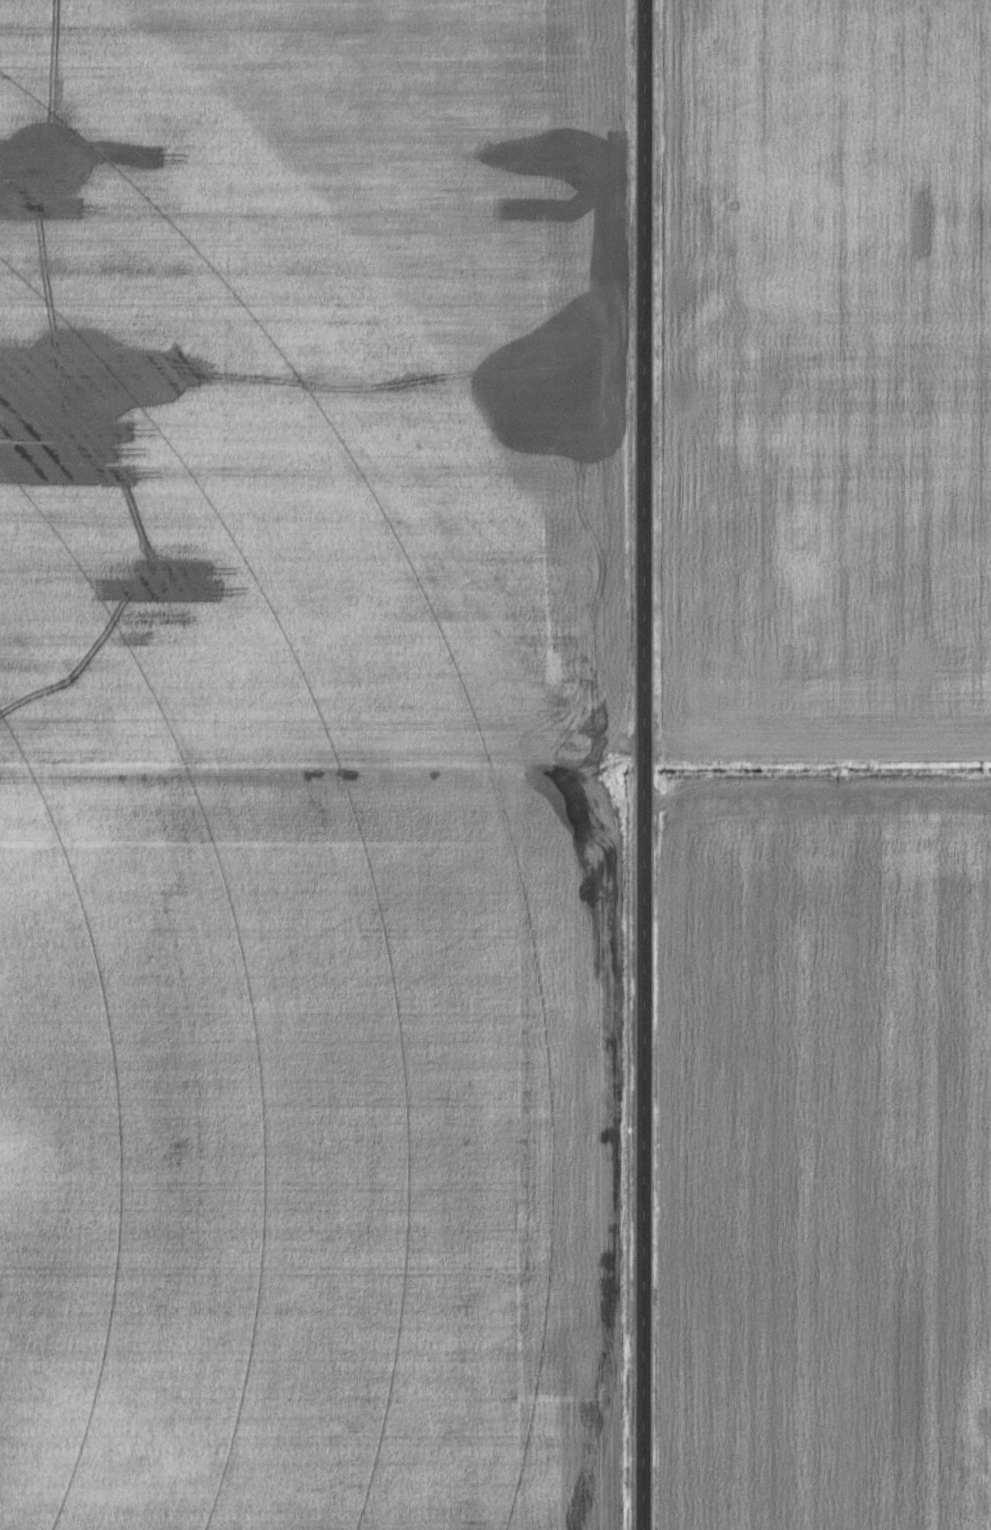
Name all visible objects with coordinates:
road: (643, 765)

